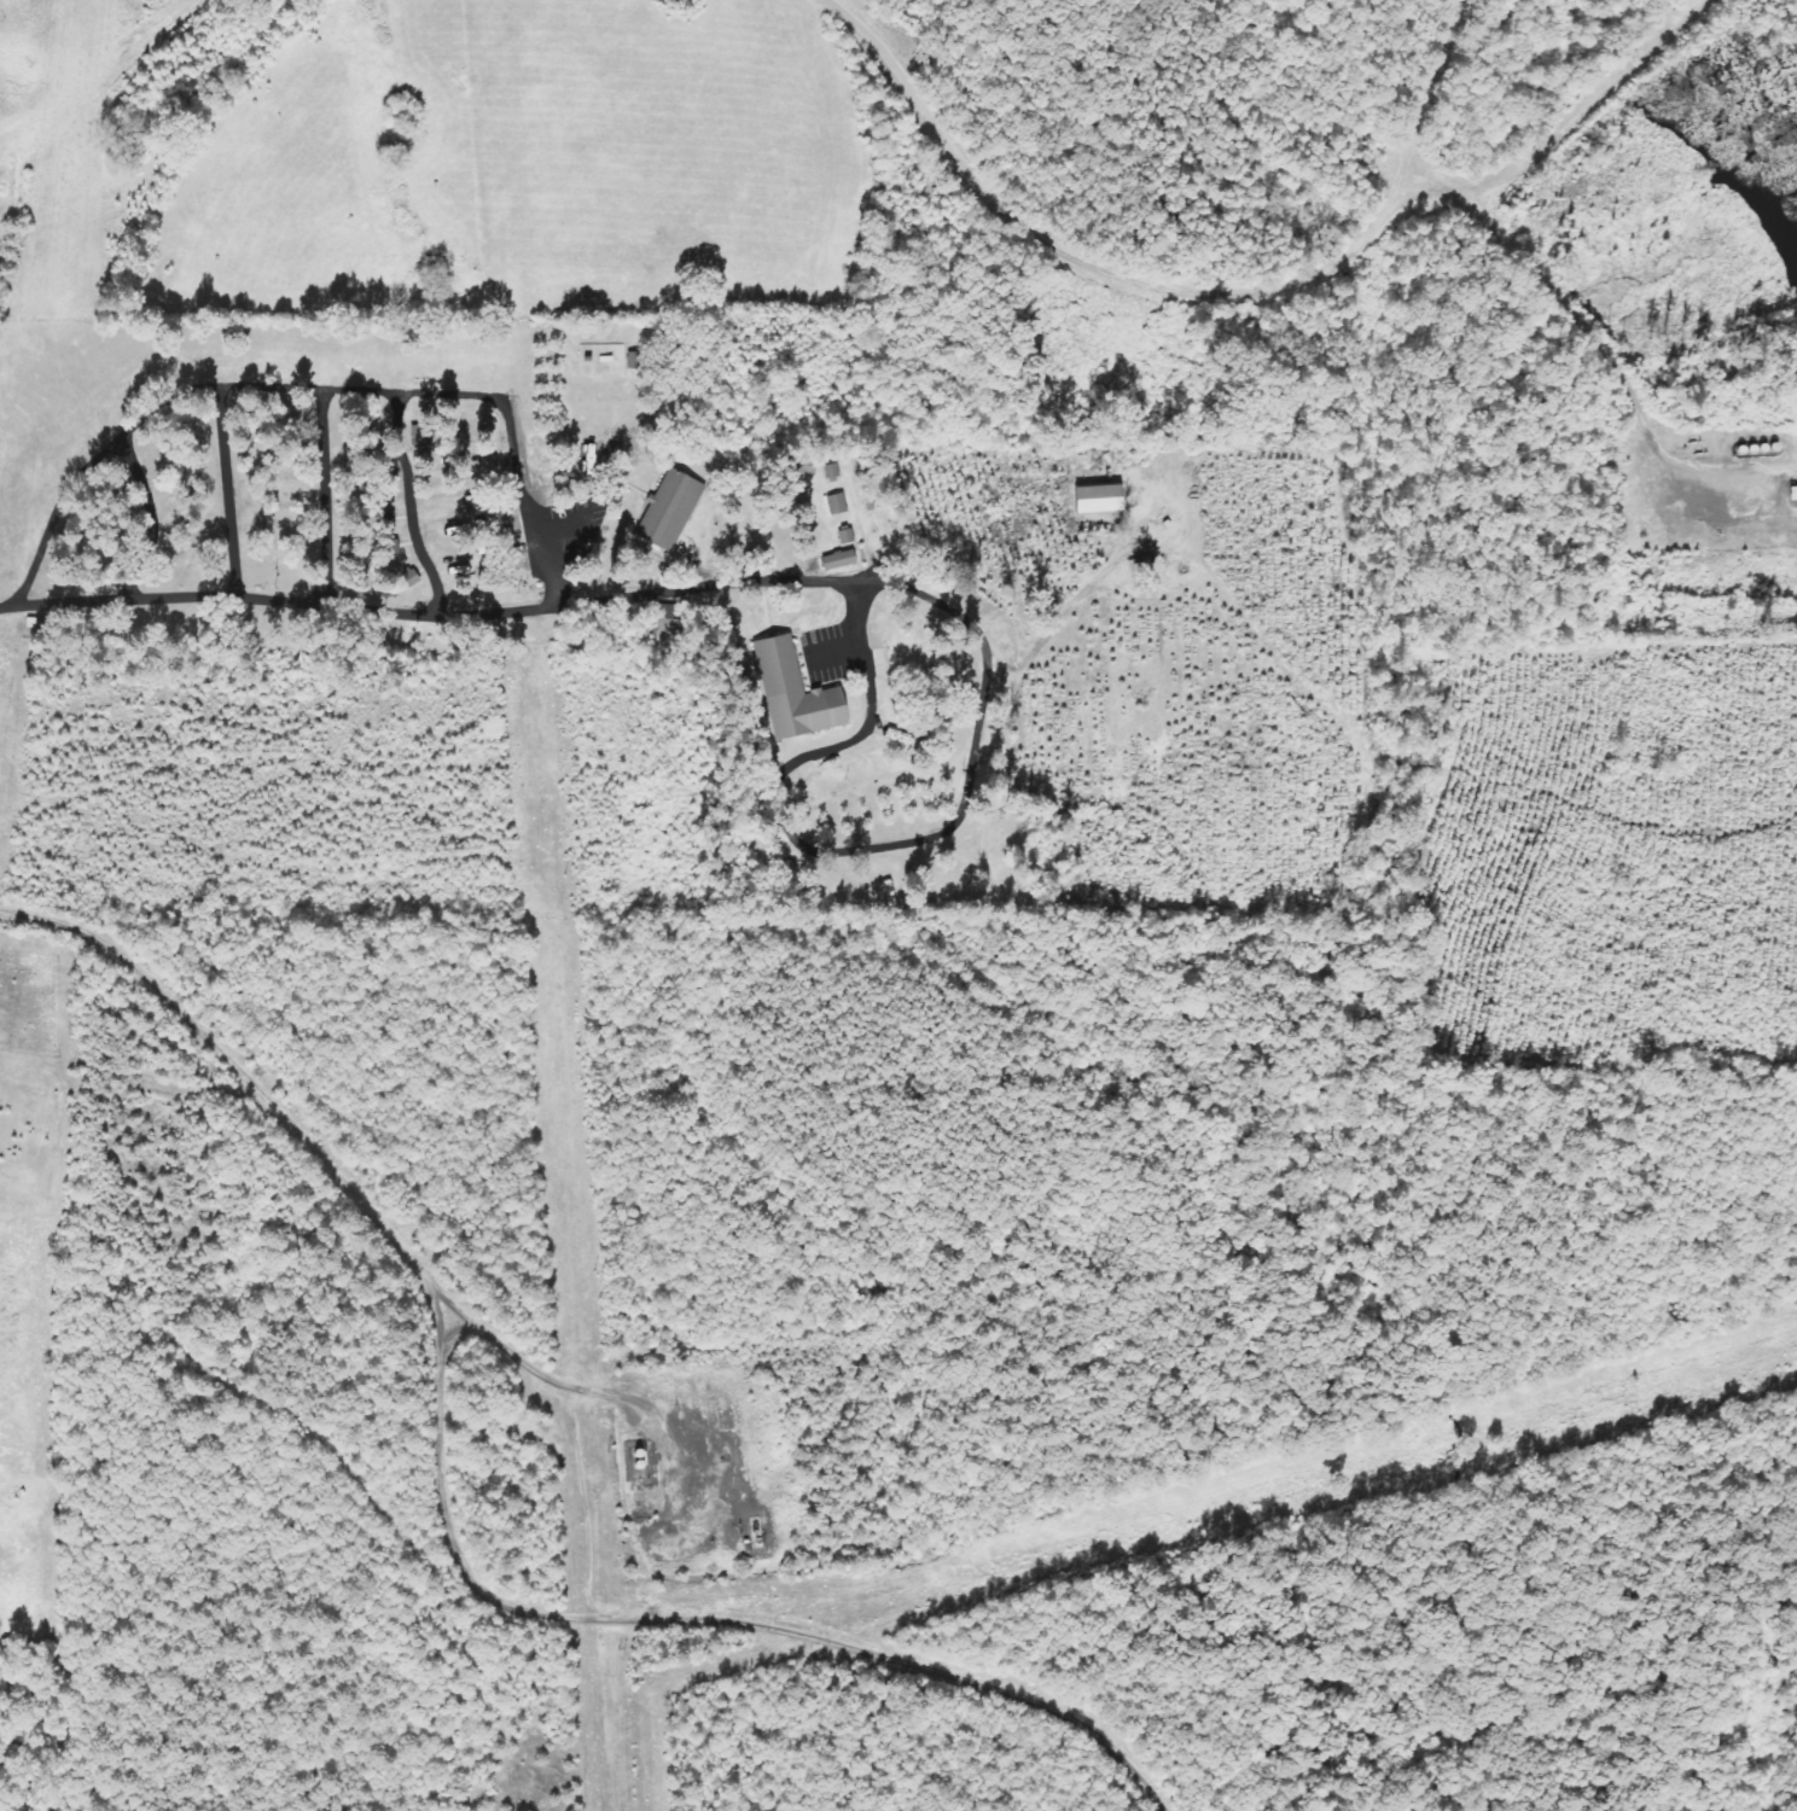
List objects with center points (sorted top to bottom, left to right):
road: (1432, 94)
road: (1284, 292)
building: (1796, 494)
building: (1107, 500)
building: (839, 505)
building: (674, 509)
building: (849, 537)
building: (843, 560)
road: (327, 606)
building: (803, 694)

